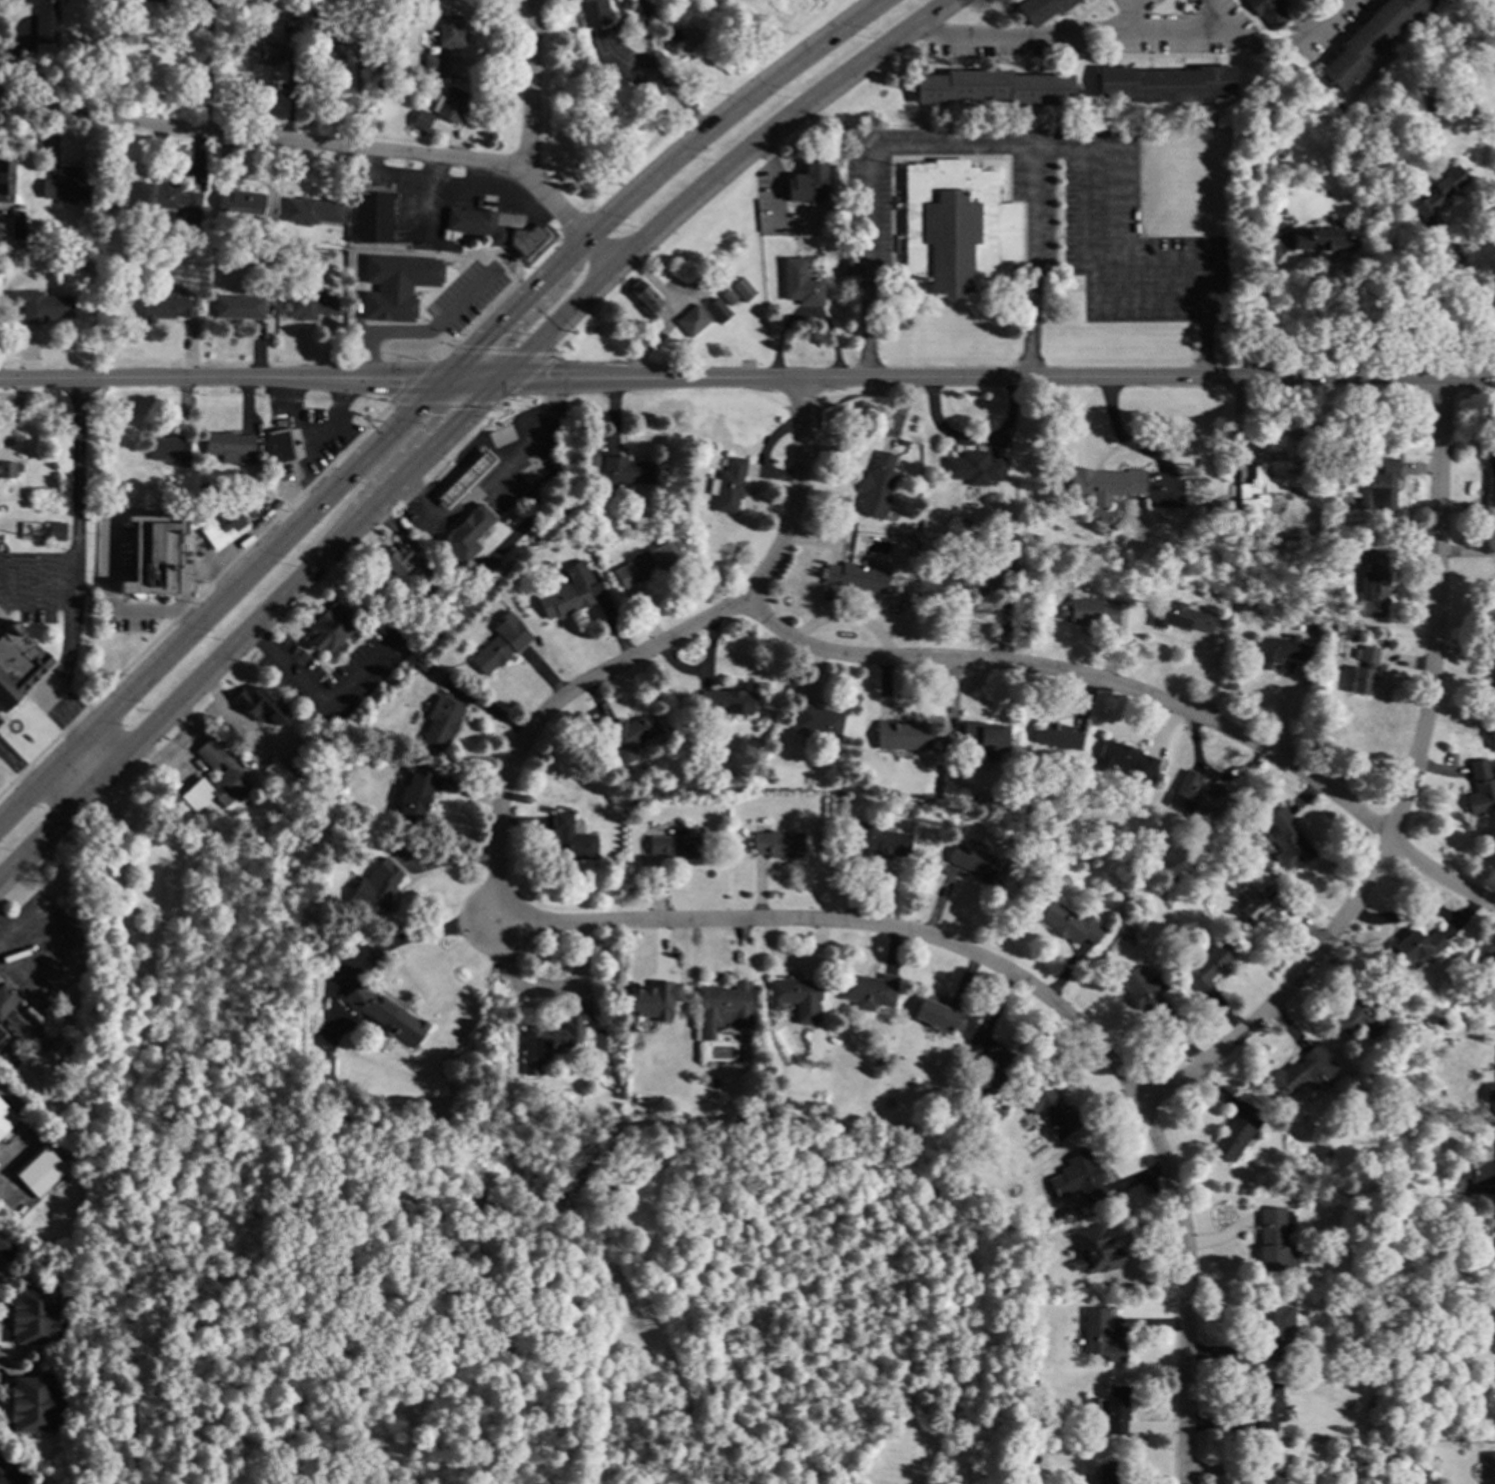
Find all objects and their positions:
building: (291, 1)
building: (174, 2)
building: (628, 4)
building: (1040, 9)
building: (1268, 11)
building: (593, 12)
building: (384, 16)
building: (46, 20)
building: (314, 22)
building: (290, 23)
building: (450, 31)
road: (995, 36)
building: (682, 38)
road: (1187, 39)
building: (1369, 39)
road: (647, 49)
building: (269, 54)
building: (325, 55)
building: (433, 63)
road: (207, 68)
building: (1165, 83)
road: (532, 85)
building: (993, 87)
building: (1433, 103)
building: (450, 104)
building: (1342, 112)
building: (421, 120)
building: (1062, 133)
road: (328, 139)
road: (1037, 149)
building: (1369, 168)
building: (1245, 171)
road: (717, 174)
road: (655, 177)
building: (5, 180)
building: (807, 183)
building: (66, 184)
building: (1441, 189)
building: (169, 200)
building: (241, 202)
building: (20, 205)
building: (312, 211)
building: (113, 212)
building: (371, 213)
parking lot: (1043, 218)
road: (1083, 223)
building: (954, 225)
building: (15, 226)
building: (265, 226)
building: (496, 228)
building: (210, 235)
building: (1252, 235)
building: (1320, 239)
building: (108, 260)
building: (84, 261)
road: (1031, 265)
building: (800, 283)
building: (251, 286)
building: (395, 286)
building: (741, 289)
road: (1466, 290)
building: (727, 295)
building: (644, 298)
road: (1125, 301)
building: (42, 306)
building: (311, 306)
building: (239, 307)
road: (1260, 308)
building: (166, 309)
building: (717, 310)
building: (692, 320)
road: (421, 331)
road: (222, 376)
road: (476, 376)
road: (1001, 379)
road: (317, 434)
building: (1335, 440)
building: (901, 442)
building: (228, 445)
building: (280, 446)
building: (169, 449)
building: (1232, 464)
road: (306, 467)
building: (971, 468)
building: (9, 469)
building: (627, 471)
road: (489, 473)
building: (463, 479)
building: (1104, 483)
building: (1266, 484)
building: (727, 486)
building: (875, 486)
building: (1378, 486)
building: (1490, 486)
building: (205, 488)
building: (105, 497)
building: (249, 497)
building: (578, 500)
building: (223, 525)
building: (1011, 527)
building: (466, 531)
building: (56, 532)
building: (154, 555)
building: (1209, 557)
road: (38, 558)
building: (398, 560)
building: (644, 565)
road: (76, 568)
building: (855, 576)
building: (978, 577)
building: (1372, 581)
building: (1109, 583)
building: (1494, 593)
building: (563, 599)
road: (222, 601)
road: (36, 603)
building: (1089, 612)
building: (1180, 617)
building: (331, 626)
building: (430, 626)
road: (253, 627)
building: (1310, 629)
road: (650, 649)
building: (497, 650)
building: (1279, 650)
building: (18, 662)
building: (1364, 669)
building: (1492, 683)
road: (1143, 691)
road: (318, 700)
building: (727, 701)
building: (261, 706)
building: (816, 720)
building: (440, 723)
building: (630, 735)
building: (901, 735)
building: (1055, 735)
building: (984, 738)
building: (771, 740)
building: (1128, 760)
building: (301, 767)
road: (19, 769)
road: (81, 771)
building: (230, 774)
building: (281, 778)
building: (1480, 788)
road: (1408, 791)
building: (415, 793)
building: (838, 793)
building: (1194, 794)
building: (1025, 810)
building: (1246, 829)
building: (571, 838)
building: (880, 839)
building: (1286, 840)
building: (777, 844)
building: (676, 845)
building: (1051, 862)
building: (977, 864)
building: (375, 890)
building: (1258, 904)
road: (856, 923)
building: (1069, 923)
road: (413, 937)
building: (1413, 947)
building: (1203, 965)
building: (1488, 973)
building: (868, 990)
building: (1145, 994)
building: (796, 997)
building: (6, 998)
building: (653, 1000)
building: (723, 1008)
building: (1360, 1010)
building: (937, 1014)
building: (384, 1015)
building: (19, 1025)
building: (554, 1037)
building: (1, 1038)
building: (324, 1068)
building: (992, 1071)
building: (1302, 1073)
building: (1490, 1091)
building: (751, 1100)
building: (764, 1104)
building: (1050, 1111)
building: (506, 1112)
building: (6, 1118)
road: (127, 1127)
building: (1235, 1131)
building: (956, 1140)
building: (975, 1151)
road: (664, 1152)
building: (39, 1170)
building: (1476, 1171)
building: (1079, 1179)
building: (484, 1203)
building: (1062, 1214)
building: (463, 1223)
building: (1008, 1227)
building: (1274, 1240)
building: (8, 1248)
building: (1095, 1250)
building: (1023, 1275)
road: (1187, 1289)
building: (34, 1316)
building: (1272, 1332)
building: (1099, 1336)
building: (1493, 1342)
building: (33, 1404)
building: (1267, 1406)
building: (1110, 1408)
building: (1371, 1432)
building: (1489, 1466)
building: (1109, 1472)
building: (1271, 1472)
road: (10, 1473)

